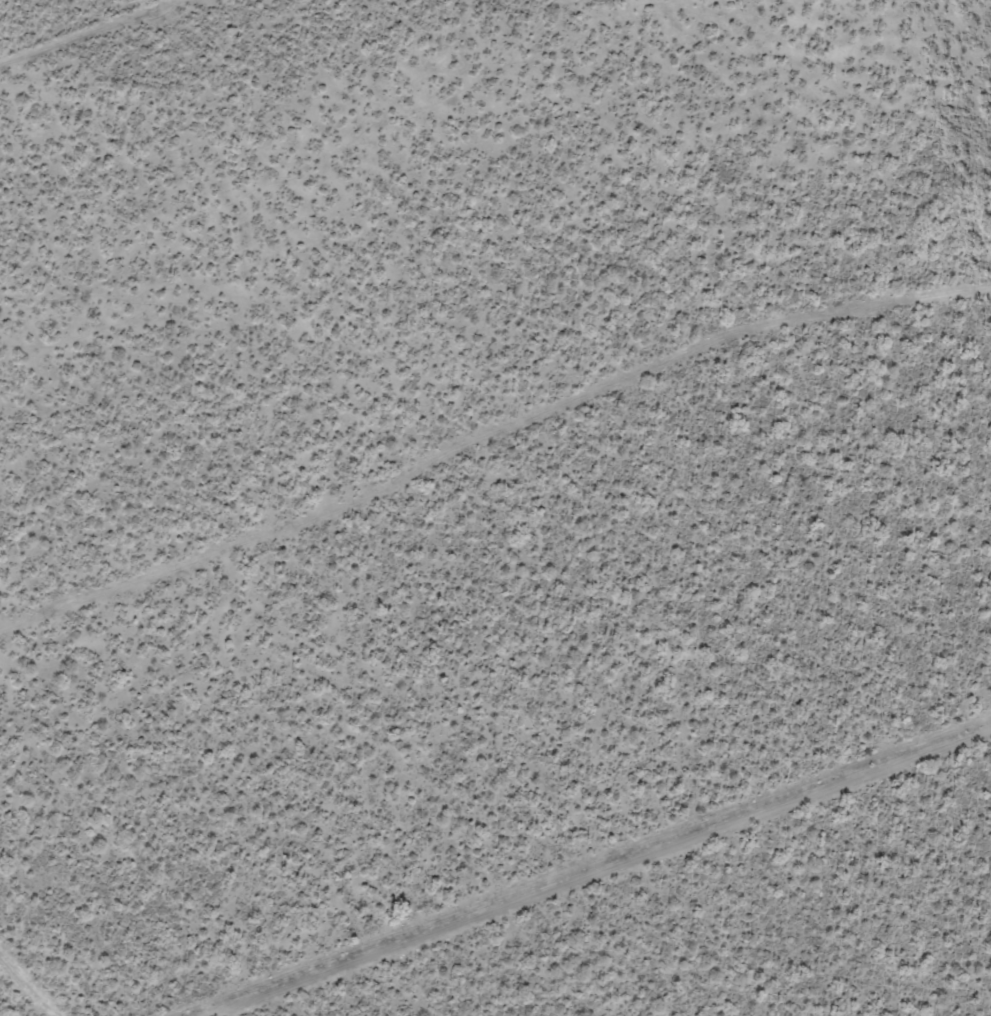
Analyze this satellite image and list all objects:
road: (30, 985)

